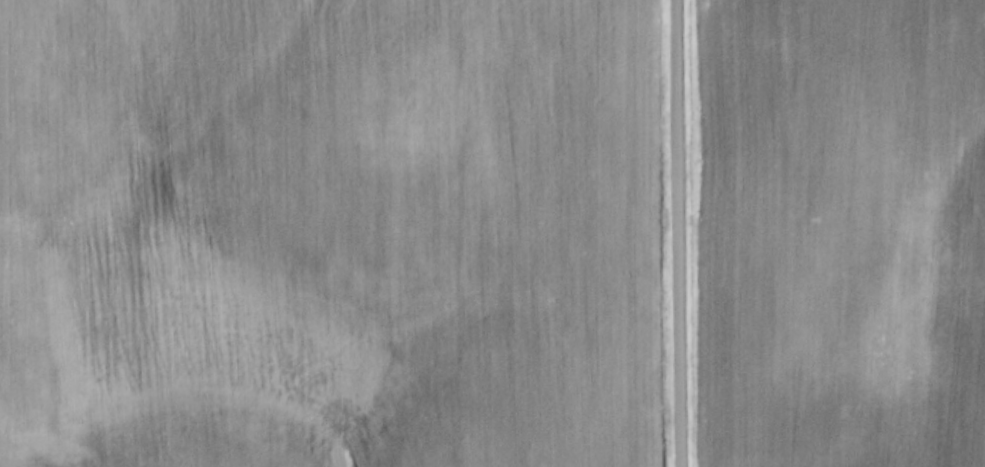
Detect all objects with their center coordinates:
road: (680, 233)

